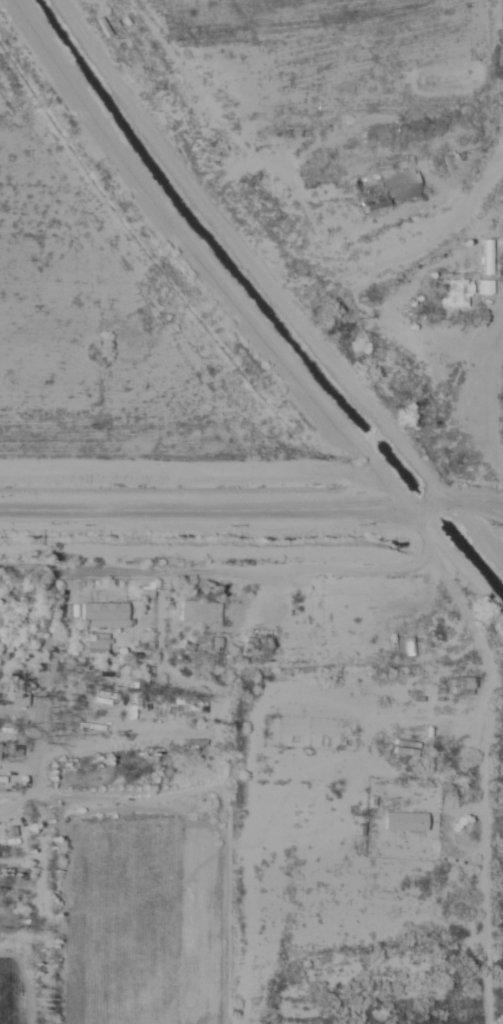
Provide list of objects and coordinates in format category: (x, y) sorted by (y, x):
building: (429, 163)
building: (400, 185)
building: (487, 256)
road: (244, 259)
building: (485, 286)
building: (458, 291)
road: (472, 496)
road: (221, 502)
building: (200, 609)
building: (103, 612)
building: (97, 639)
building: (405, 819)

